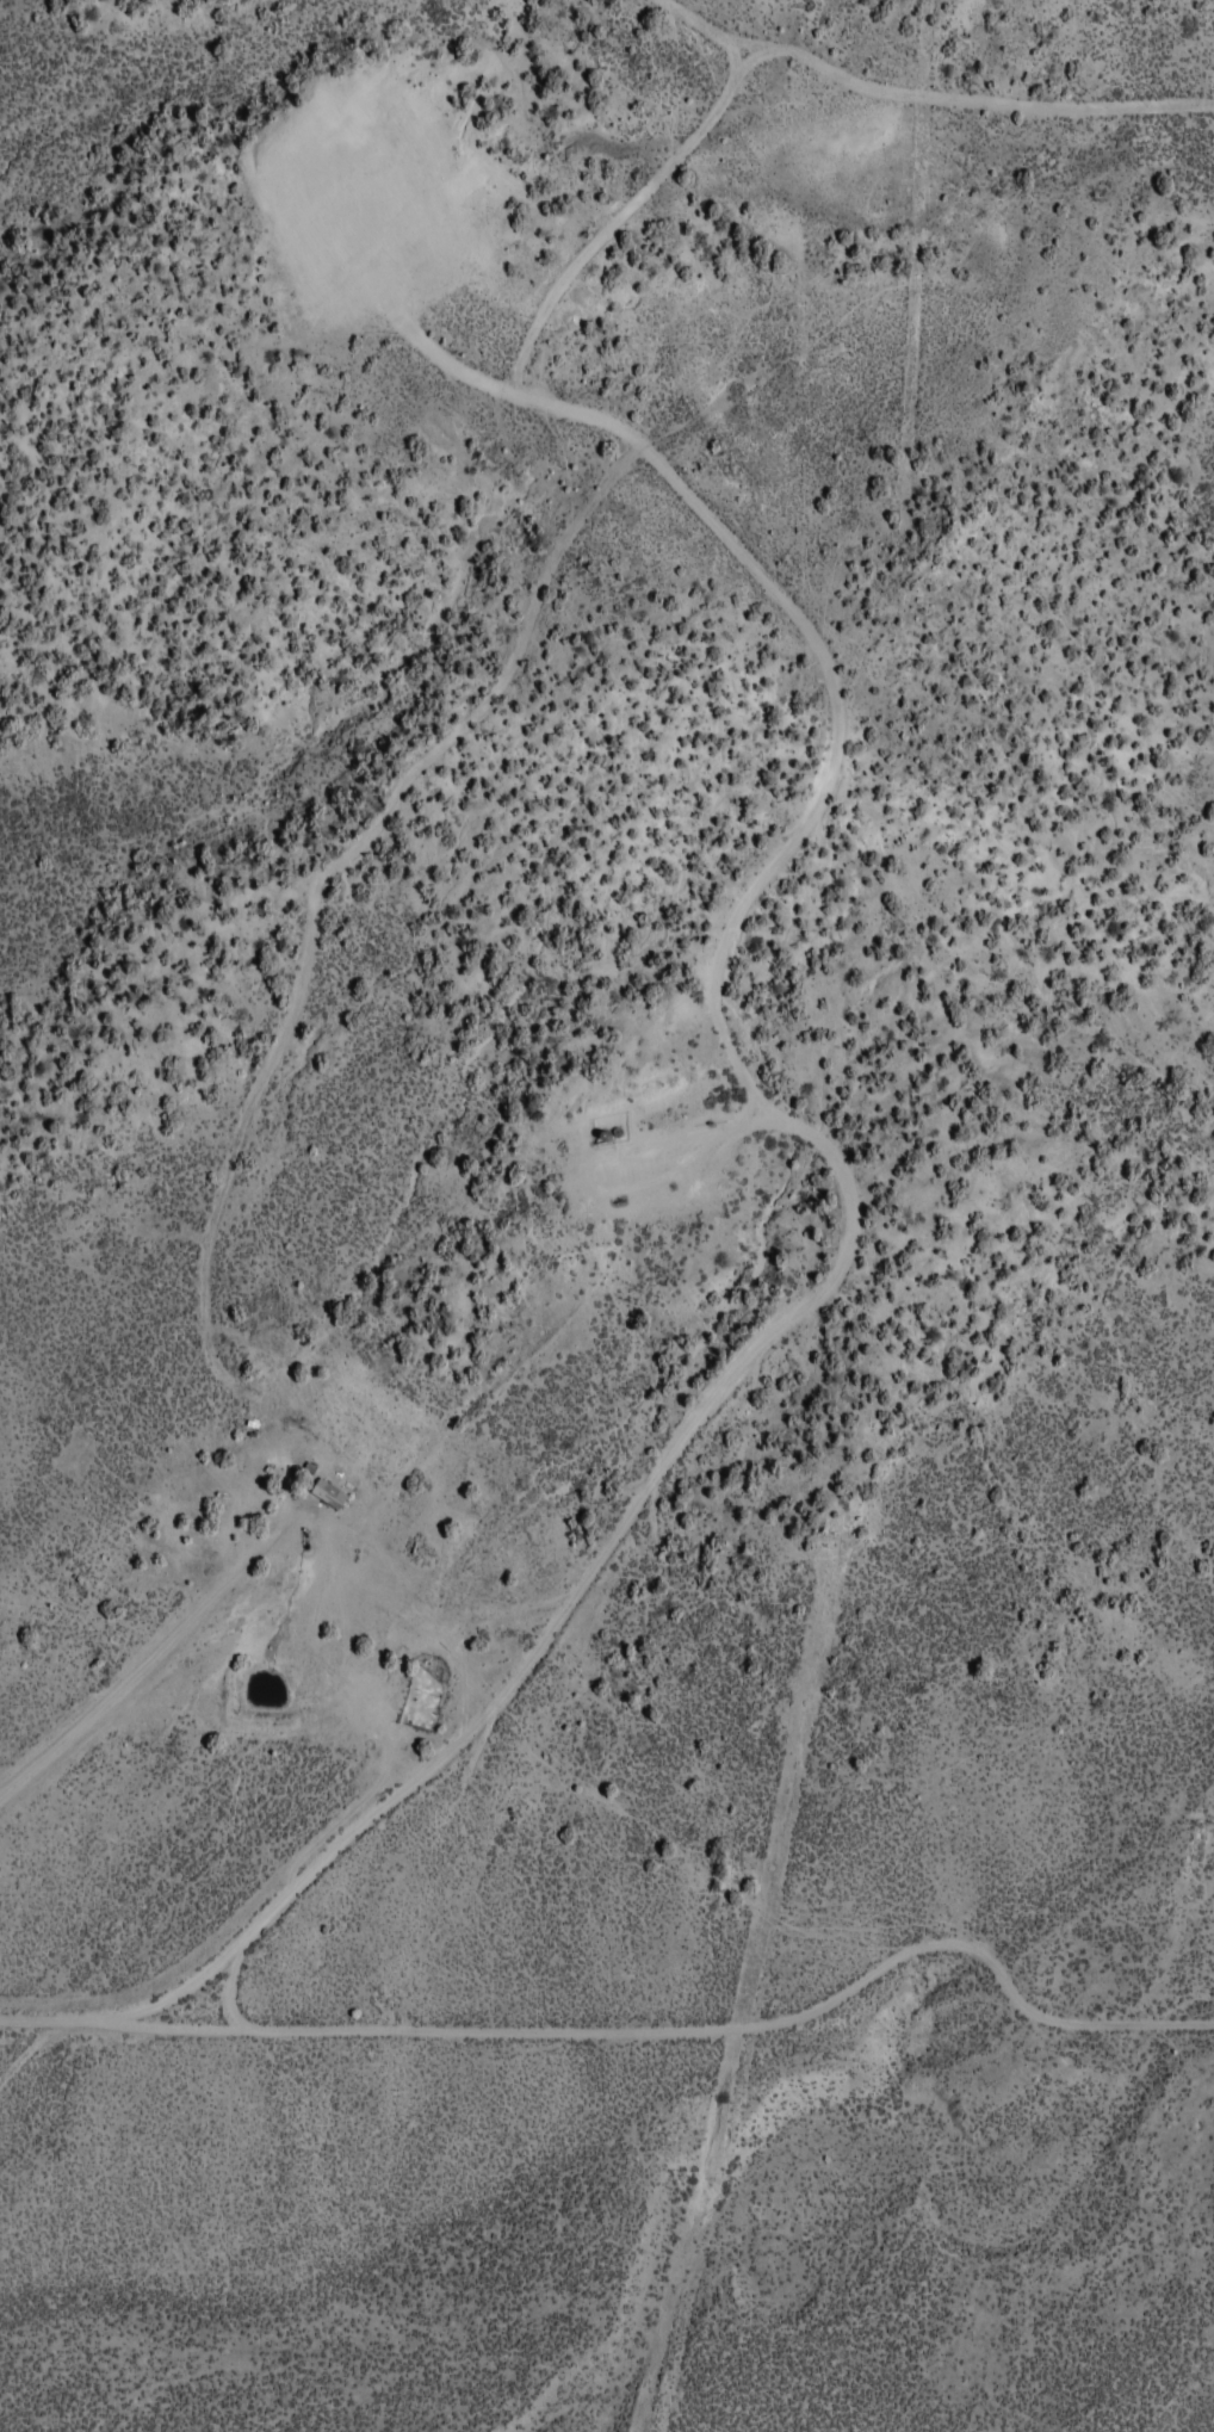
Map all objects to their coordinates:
building: (328, 1496)
road: (606, 2078)

